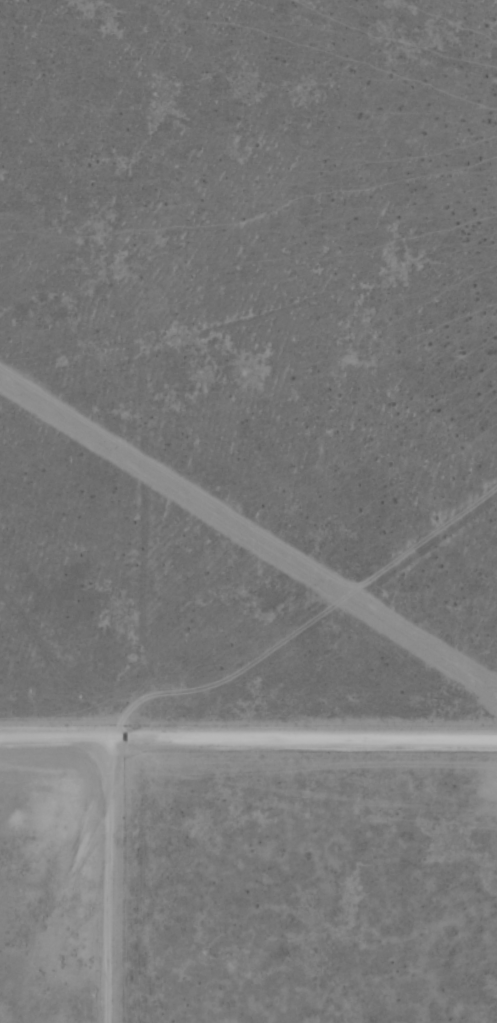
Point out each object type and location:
road: (248, 740)

